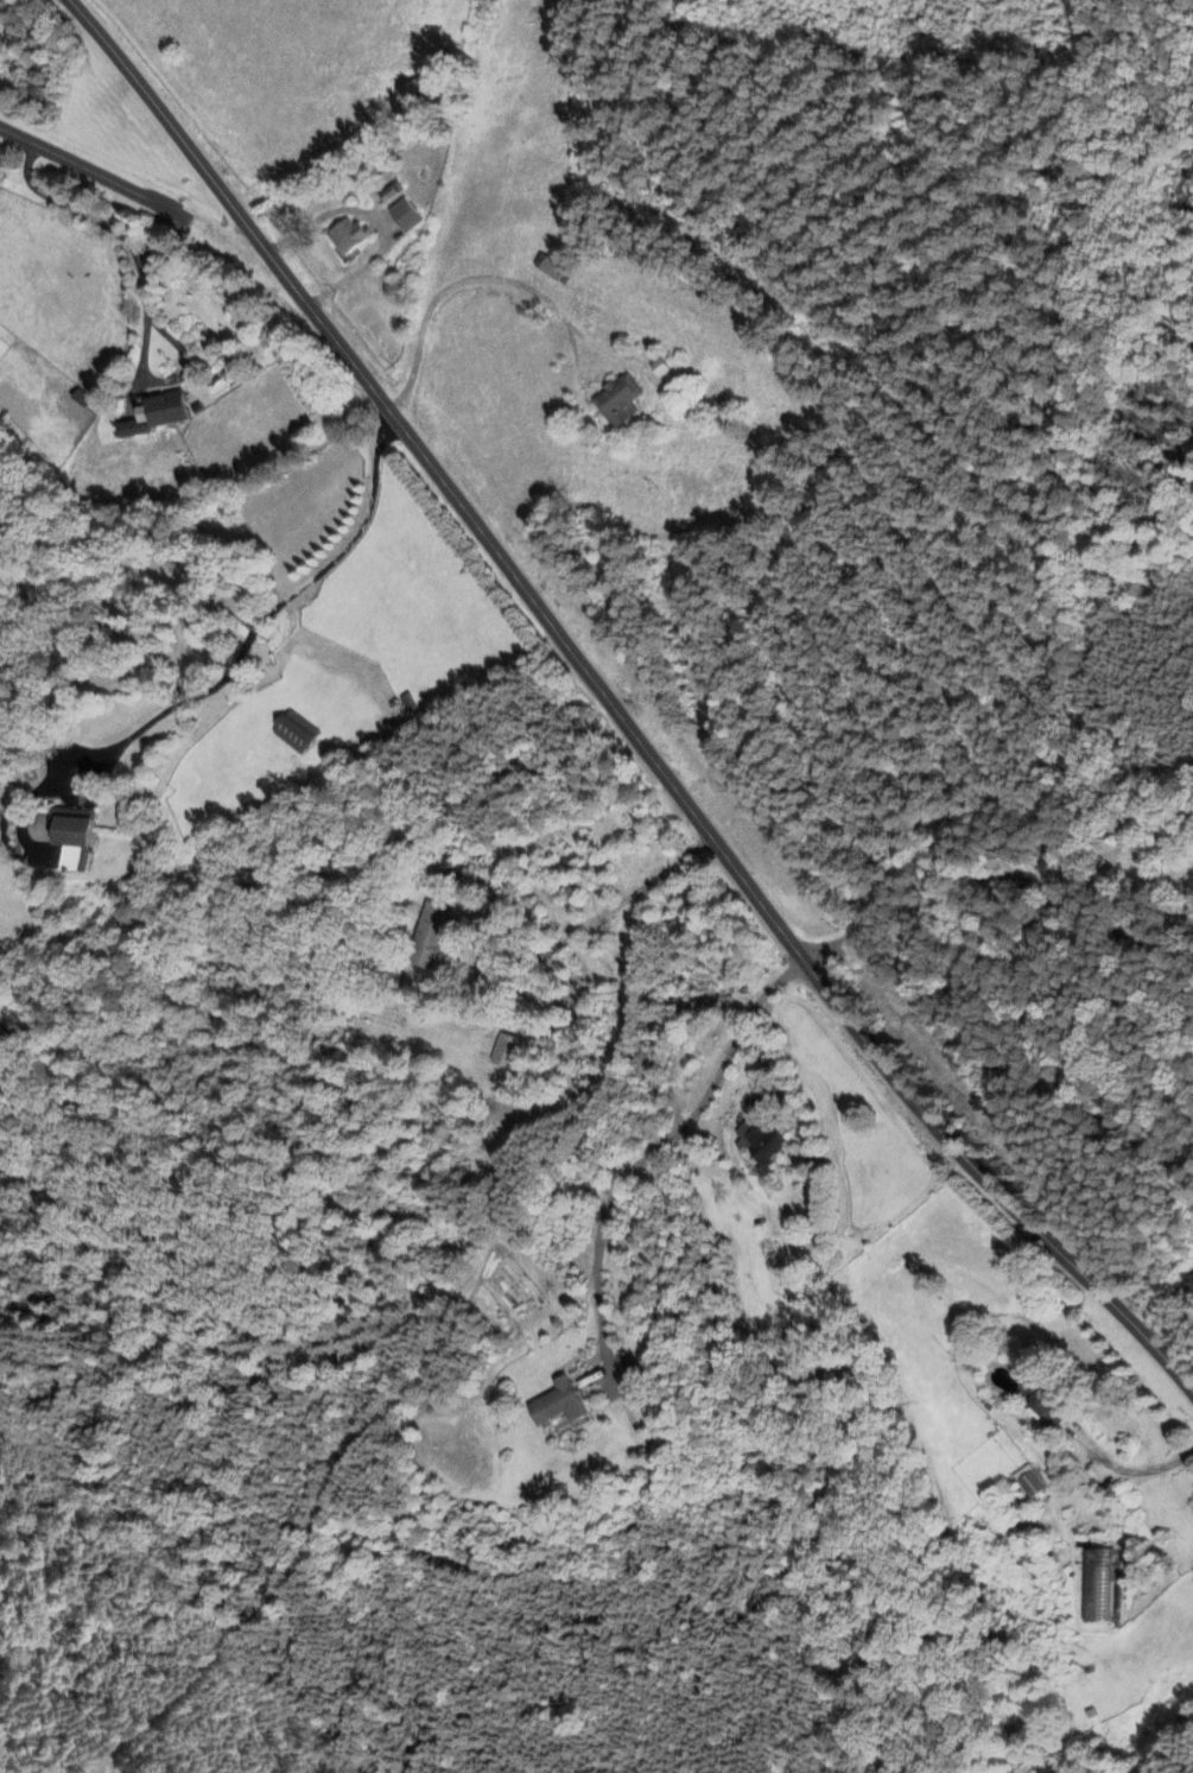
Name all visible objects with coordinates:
building: (413, 95)
road: (77, 169)
building: (405, 216)
road: (152, 233)
building: (347, 236)
building: (552, 270)
road: (497, 278)
road: (142, 290)
building: (618, 401)
building: (154, 416)
road: (274, 607)
road: (615, 710)
building: (296, 733)
building: (74, 837)
road: (1000, 872)
road: (599, 917)
building: (432, 941)
building: (507, 1052)
building: (759, 1146)
road: (659, 1147)
building: (559, 1405)
building: (1042, 1405)
road: (1138, 1471)
building: (1029, 1483)
building: (1097, 1588)

